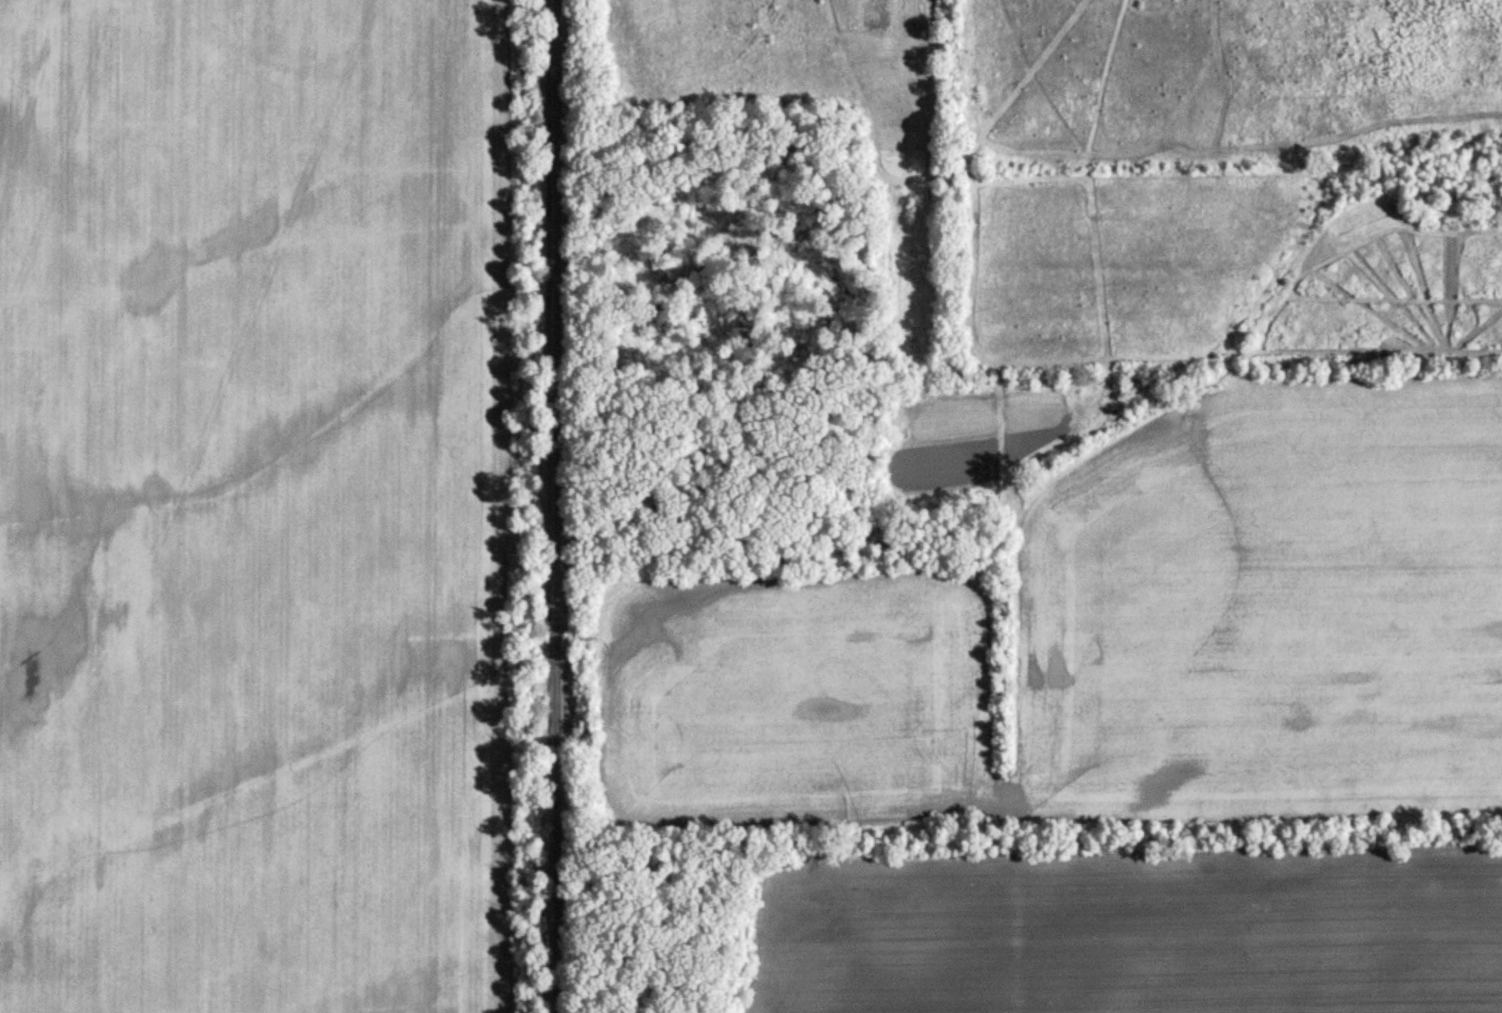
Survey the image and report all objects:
railway: (556, 506)

